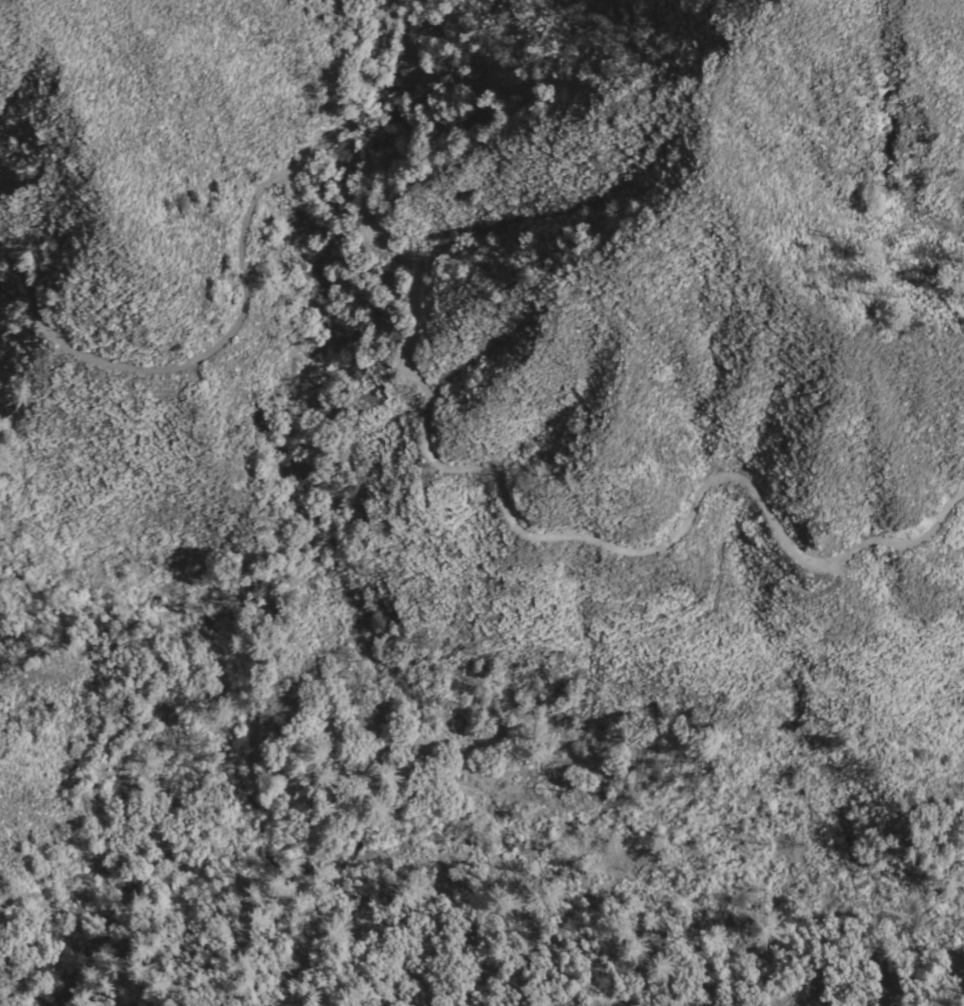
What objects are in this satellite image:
road: (412, 283)
road: (611, 648)
road: (462, 795)

